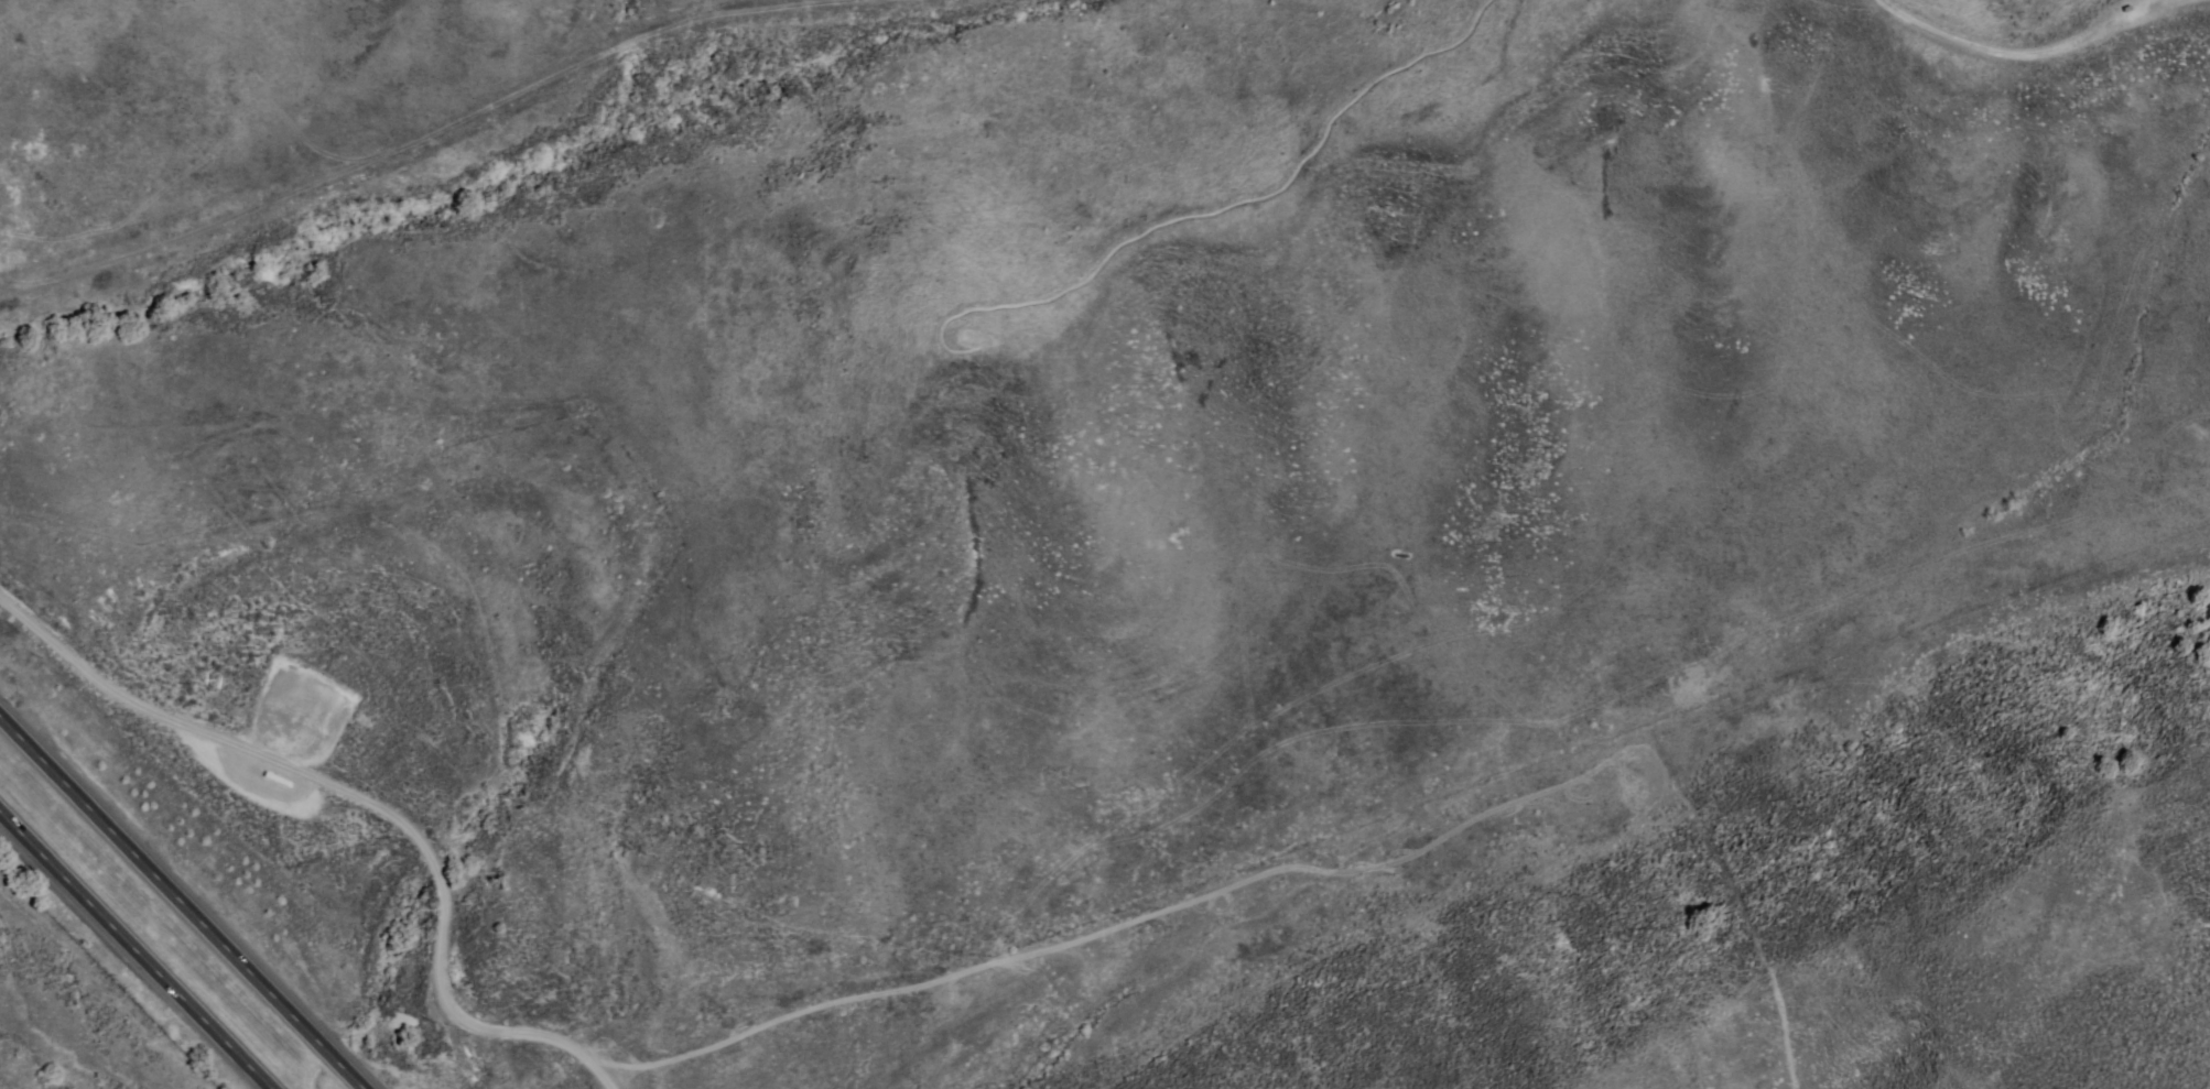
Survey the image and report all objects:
road: (2026, 53)
road: (368, 812)
road: (181, 902)
road: (136, 949)

